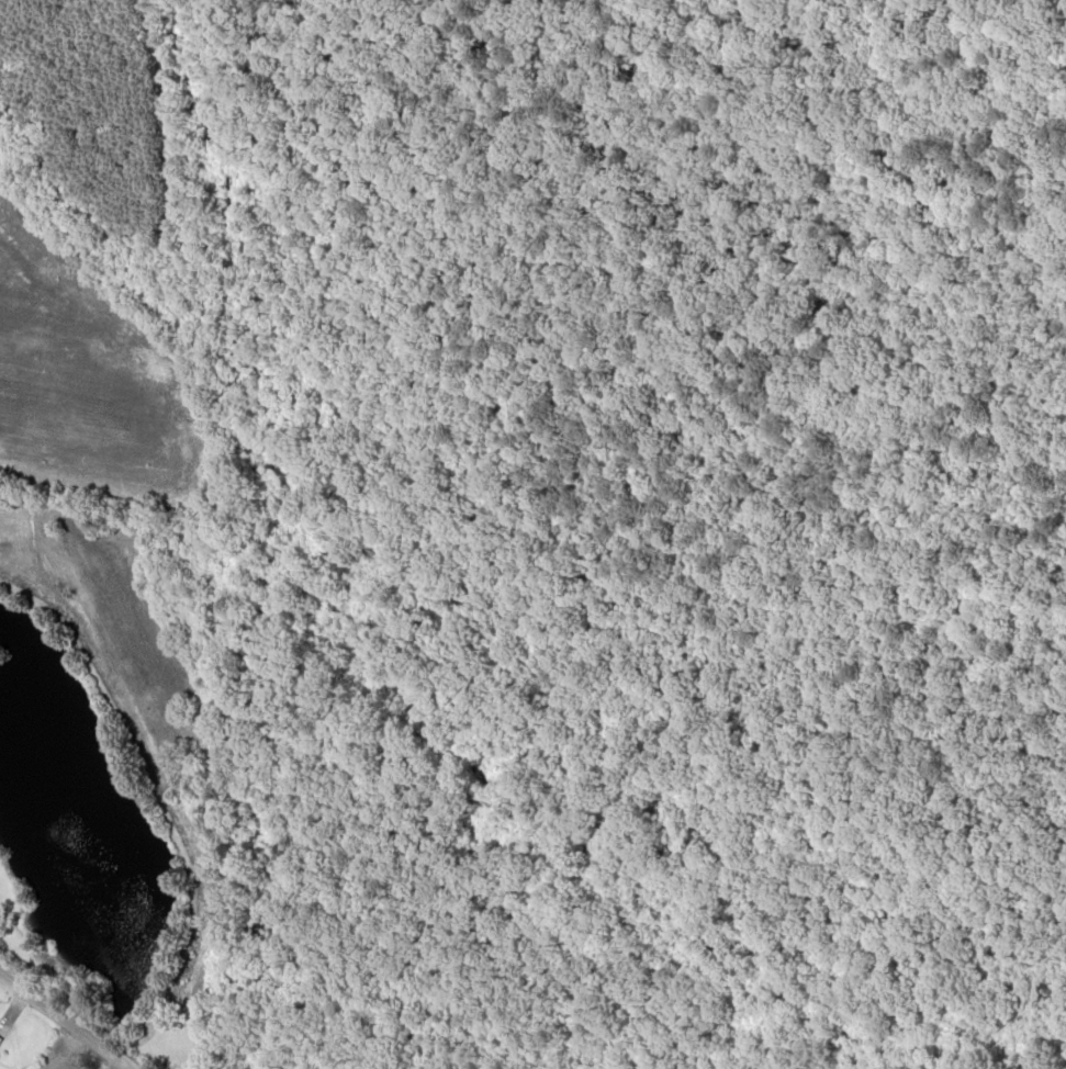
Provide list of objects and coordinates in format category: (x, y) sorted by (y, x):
road: (82, 1022)

